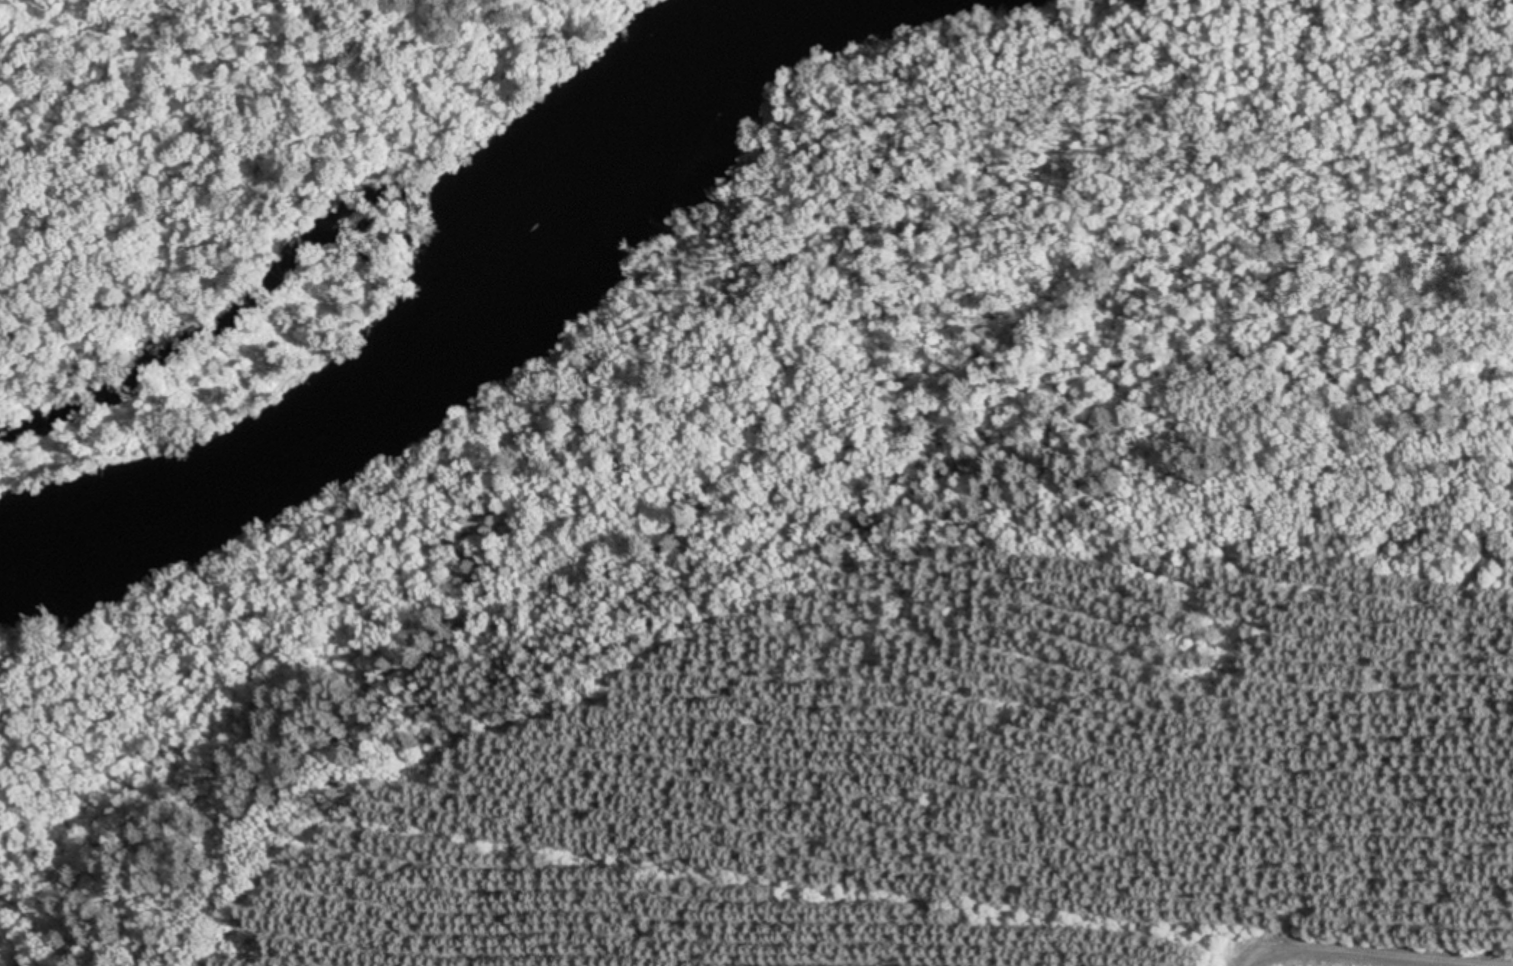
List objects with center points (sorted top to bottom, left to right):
river: (451, 315)
road: (1370, 955)

